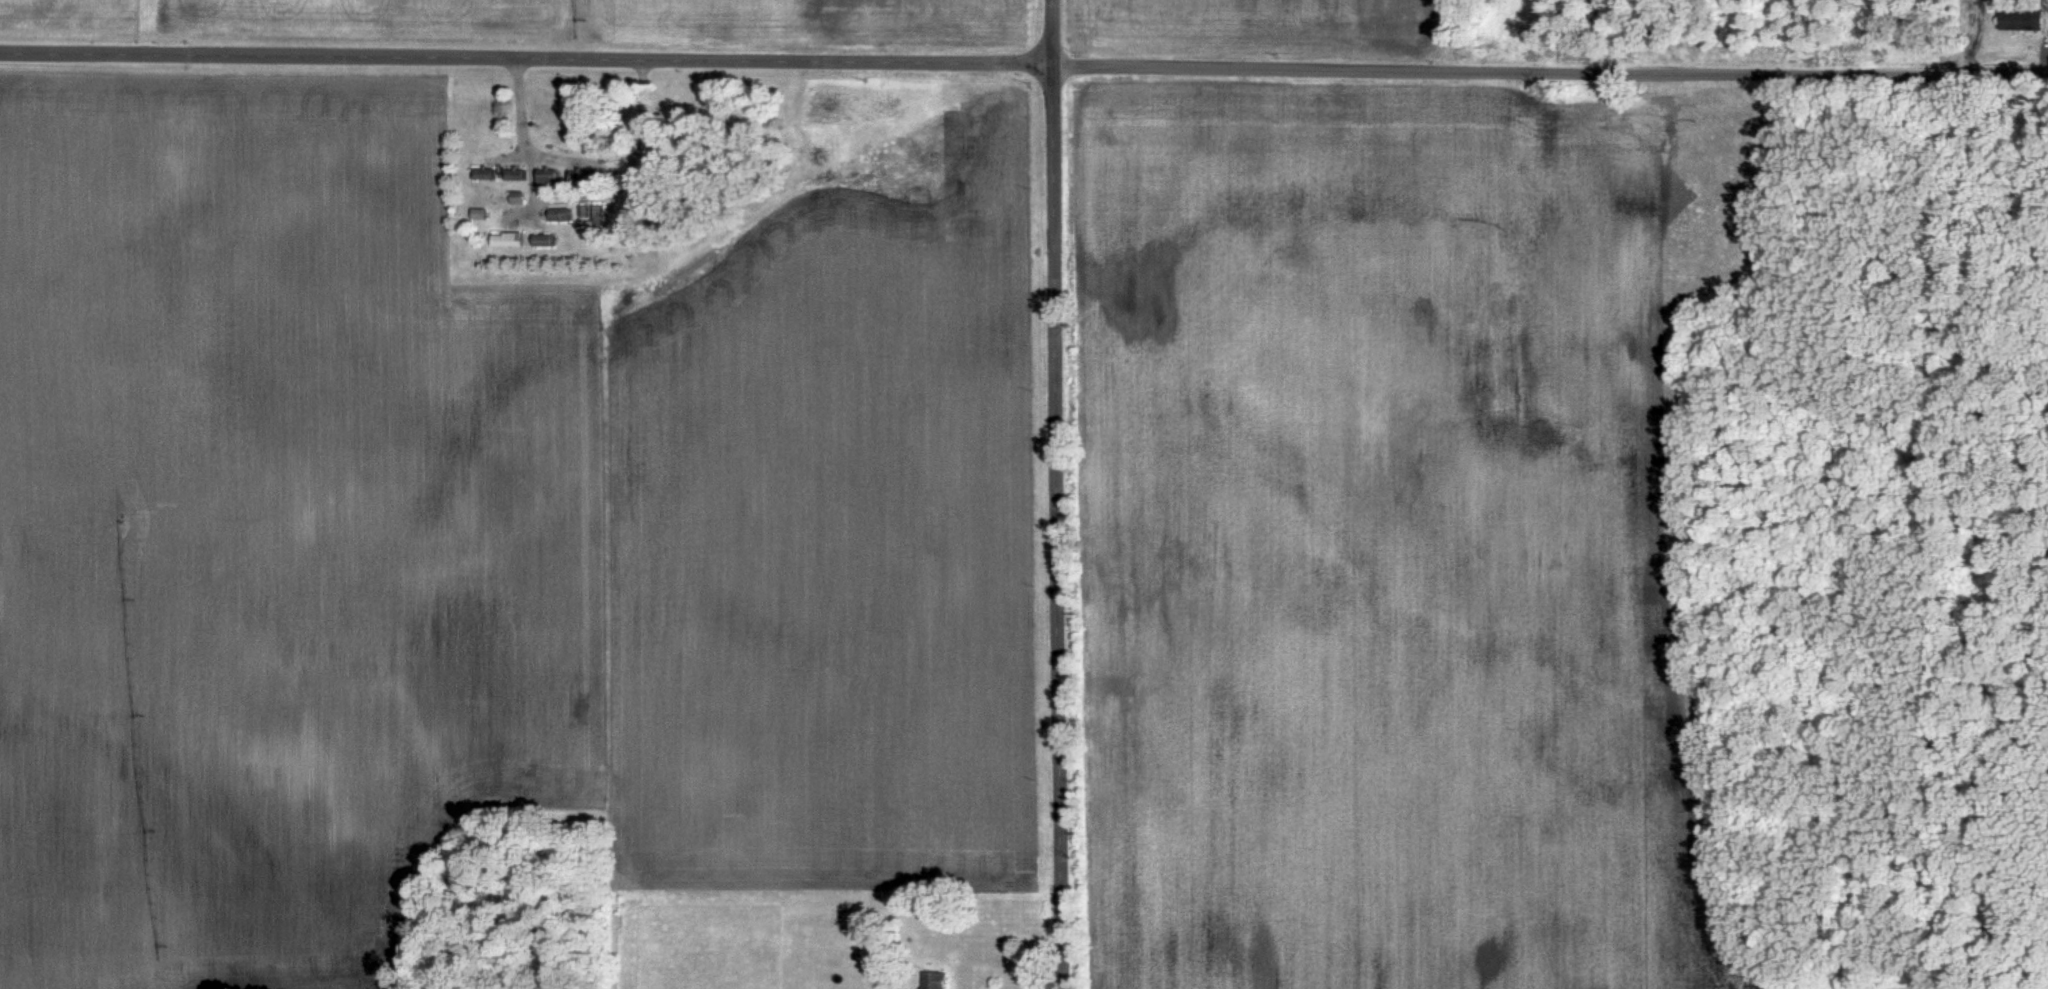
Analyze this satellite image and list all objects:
building: (2022, 19)
road: (1024, 60)
building: (546, 176)
building: (558, 213)
building: (507, 239)
building: (539, 239)
road: (1060, 494)
building: (933, 980)

